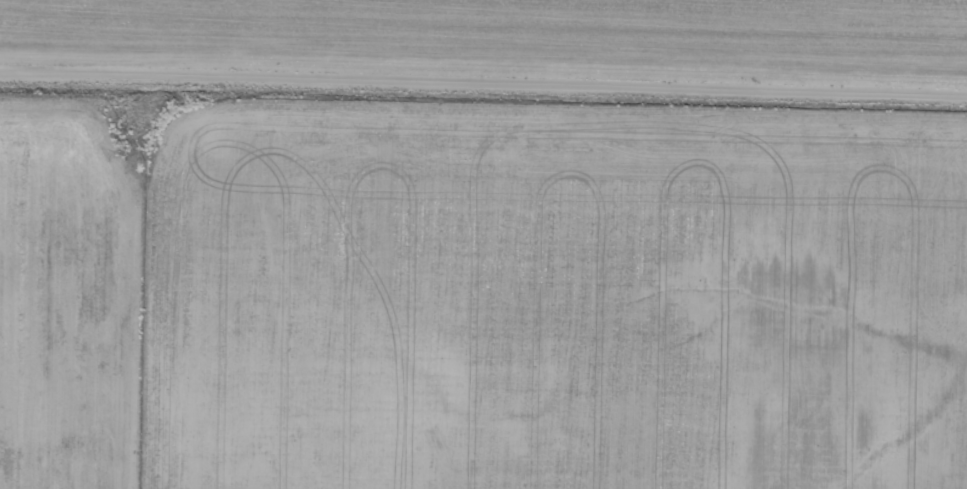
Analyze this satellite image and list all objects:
road: (483, 80)

